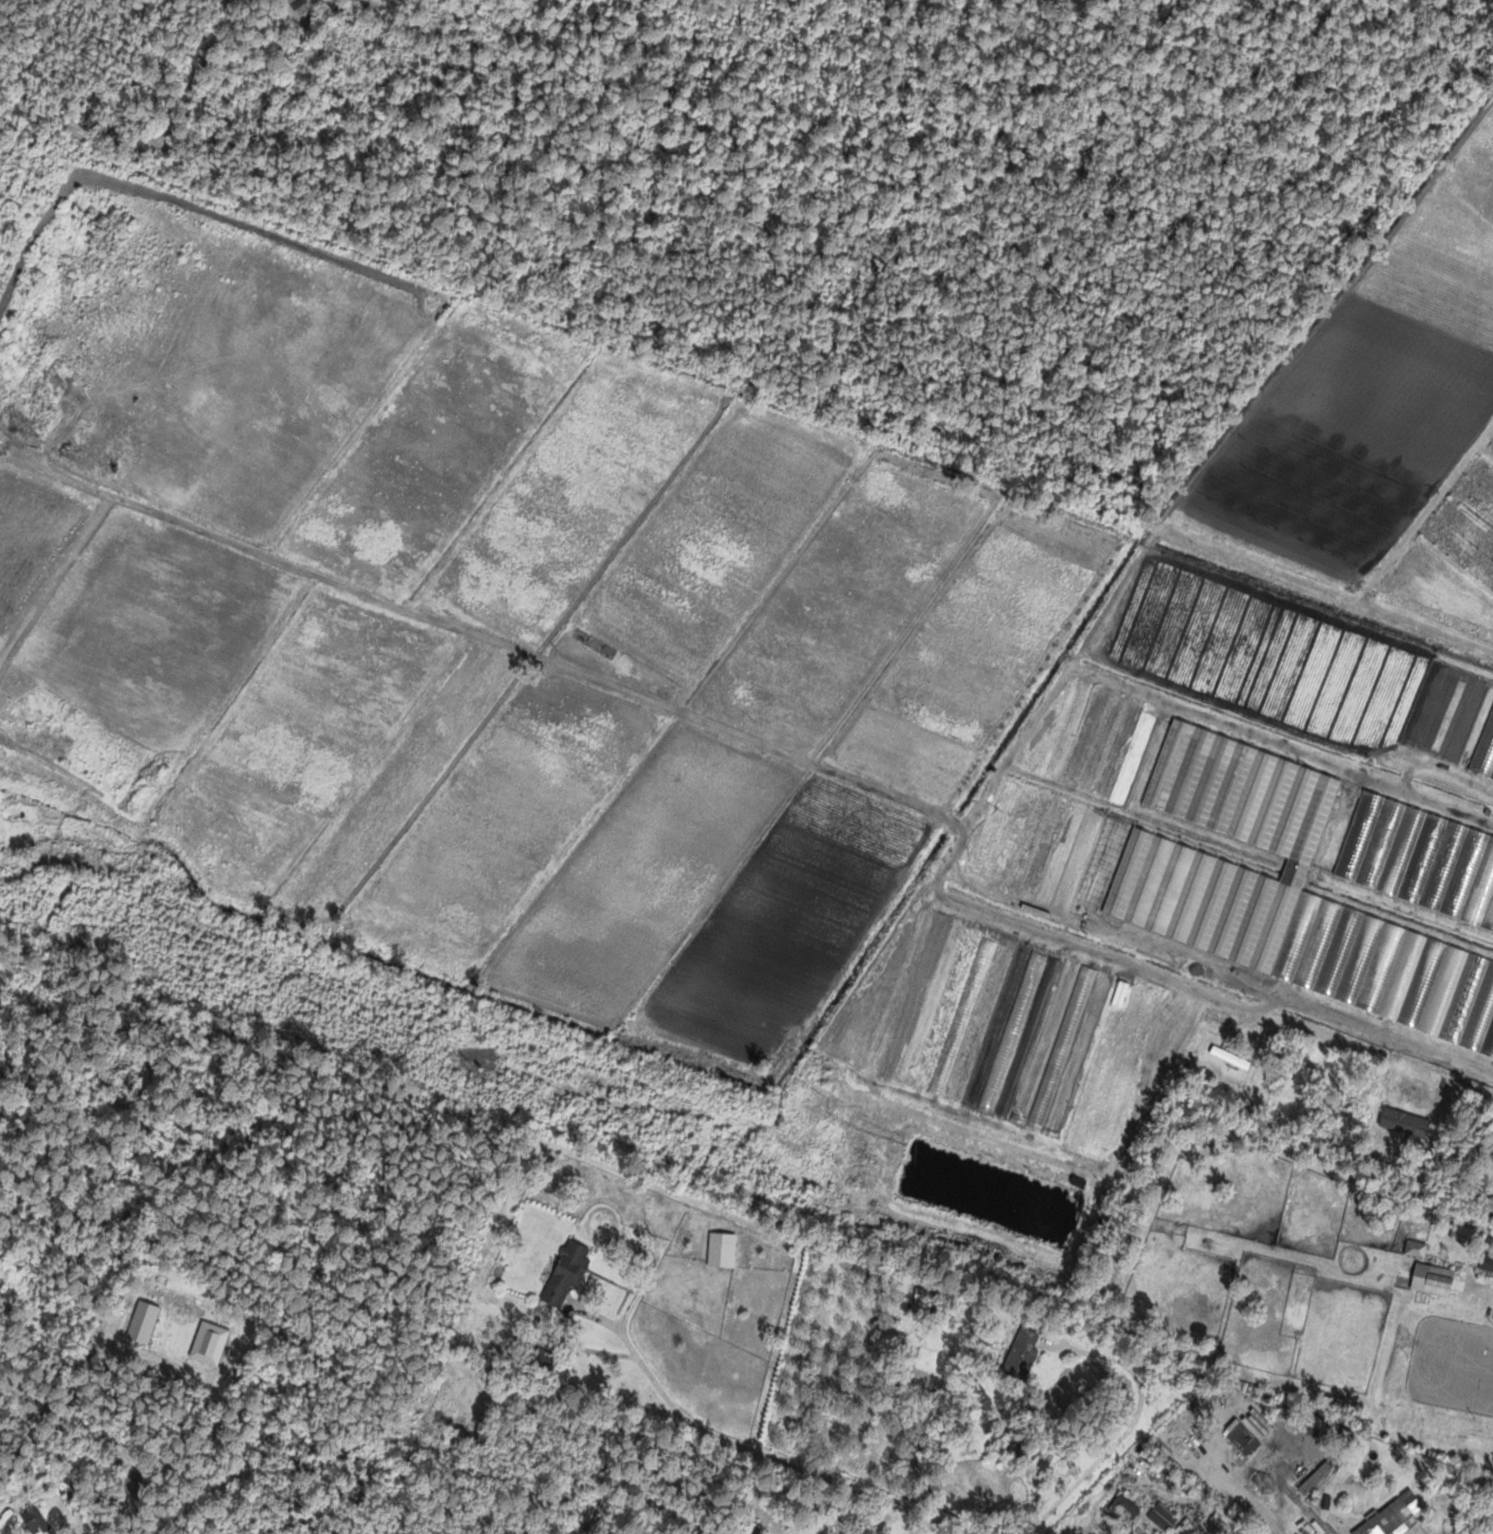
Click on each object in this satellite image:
building: (1421, 738)
building: (1484, 753)
building: (1419, 861)
building: (1291, 908)
building: (991, 1025)
road: (1388, 1037)
building: (1230, 1057)
building: (1413, 1090)
building: (1464, 1233)
building: (1415, 1249)
building: (721, 1254)
building: (1486, 1262)
building: (567, 1275)
building: (1432, 1280)
road: (1486, 1289)
building: (922, 1301)
road: (563, 1313)
building: (1021, 1352)
building: (931, 1361)
road: (1128, 1426)
building: (1241, 1438)
road: (793, 1464)
building: (1122, 1511)
building: (1161, 1516)
building: (1392, 1516)
building: (34, 1521)
building: (800, 1527)
building: (752, 1531)

